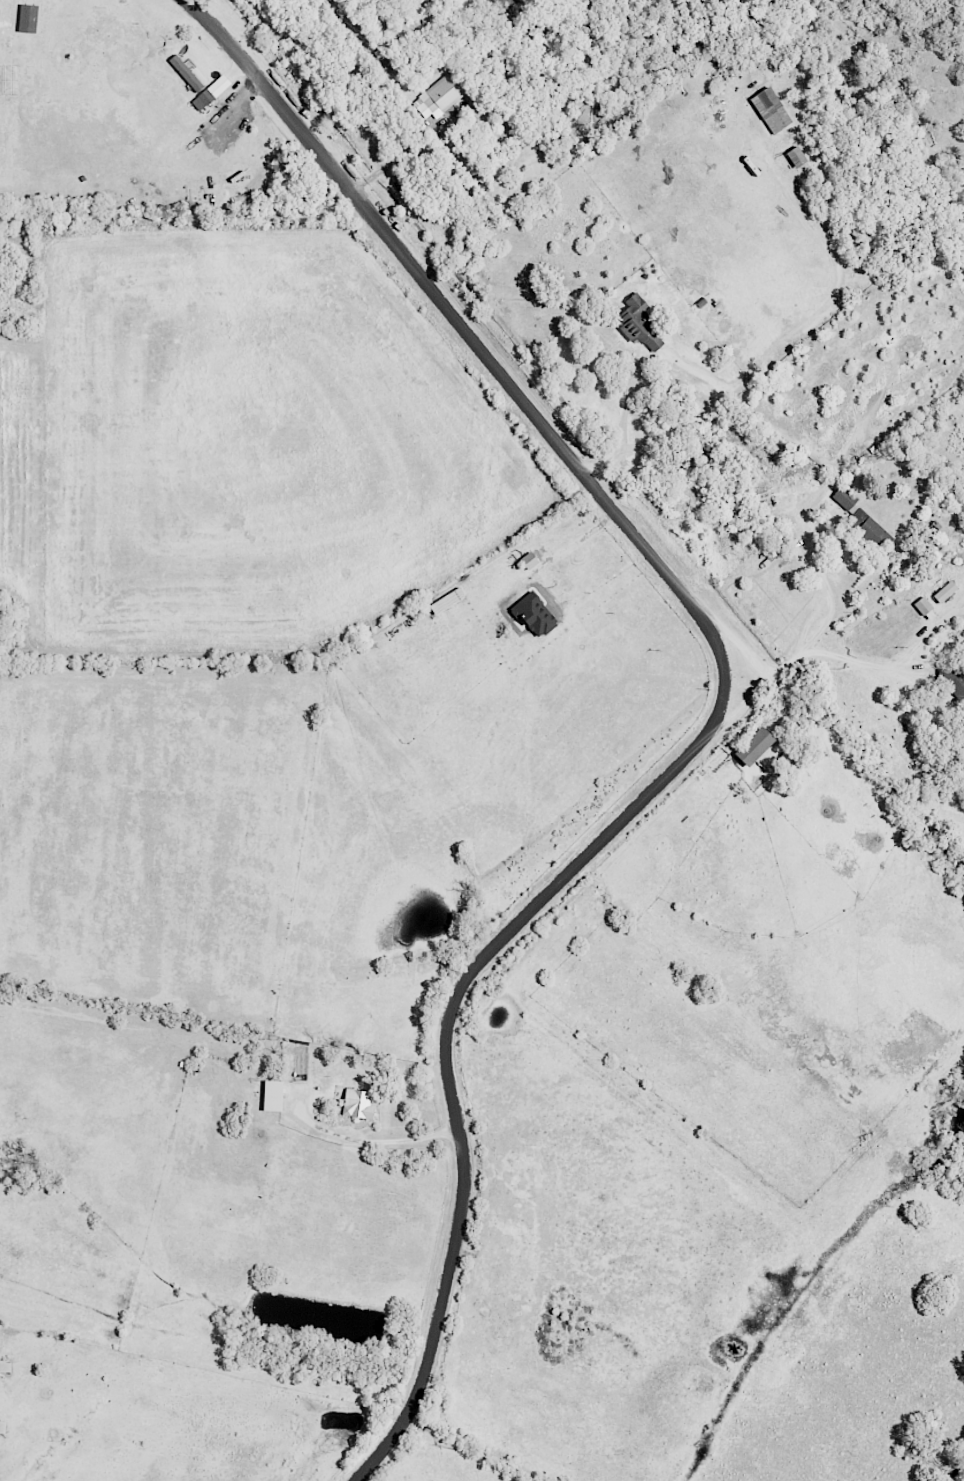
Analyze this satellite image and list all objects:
building: (186, 72)
building: (210, 92)
building: (439, 97)
building: (771, 110)
building: (797, 156)
building: (640, 323)
road: (690, 424)
building: (529, 560)
building: (946, 591)
building: (925, 609)
building: (534, 615)
road: (734, 640)
road: (808, 642)
road: (861, 663)
road: (719, 712)
building: (754, 746)
building: (272, 1095)
building: (357, 1104)
road: (412, 1140)
building: (5, 1367)
building: (2, 1427)

